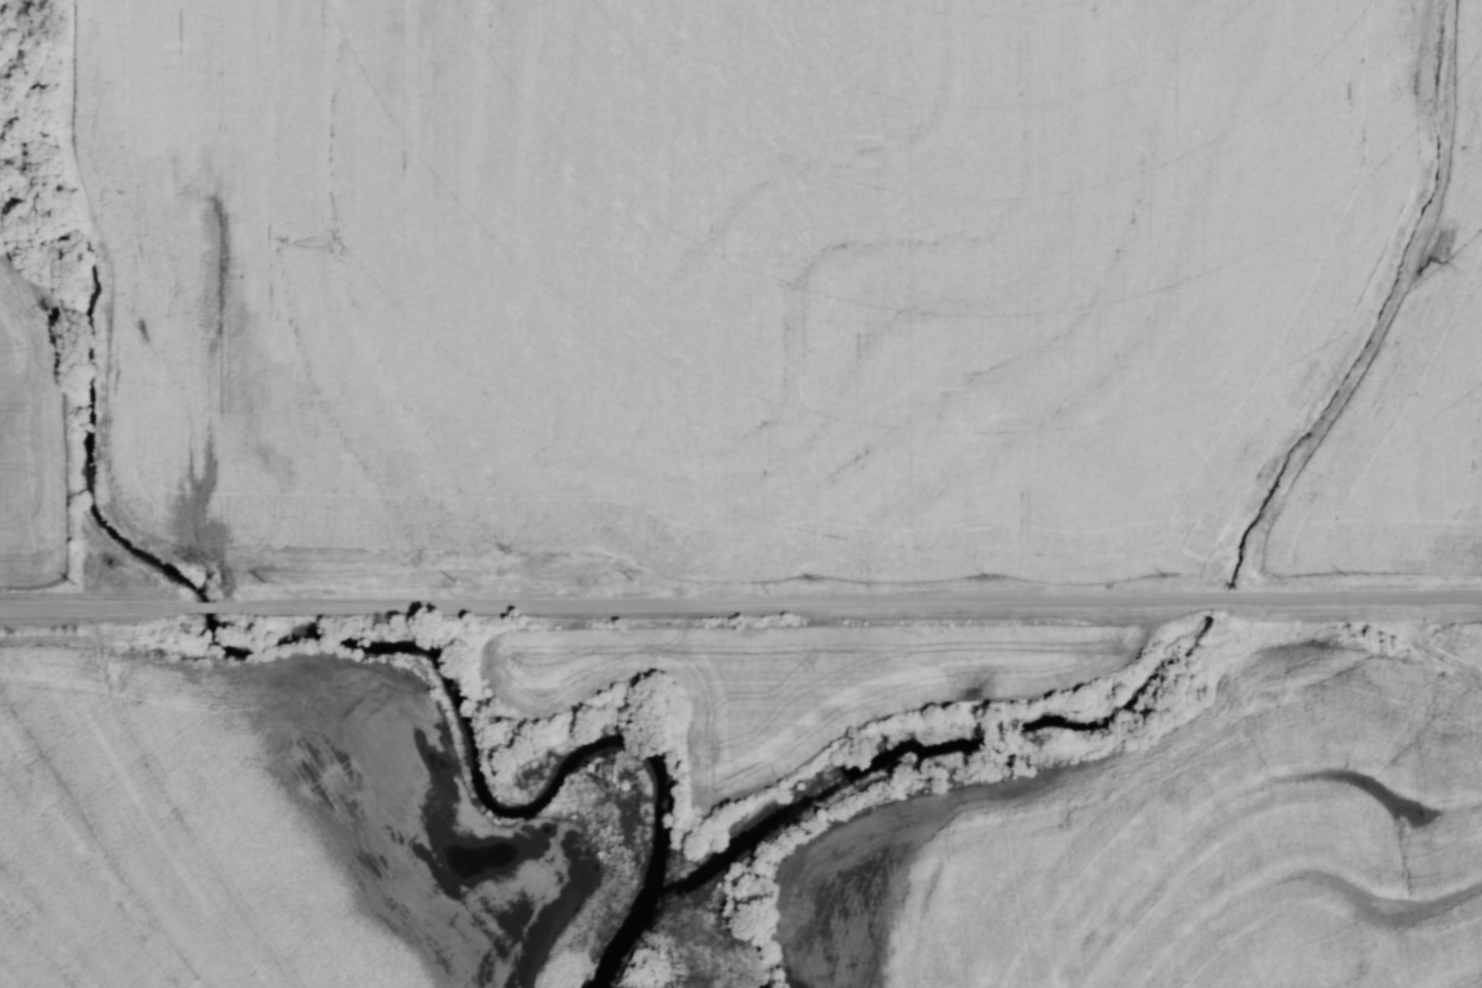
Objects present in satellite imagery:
road: (741, 604)

